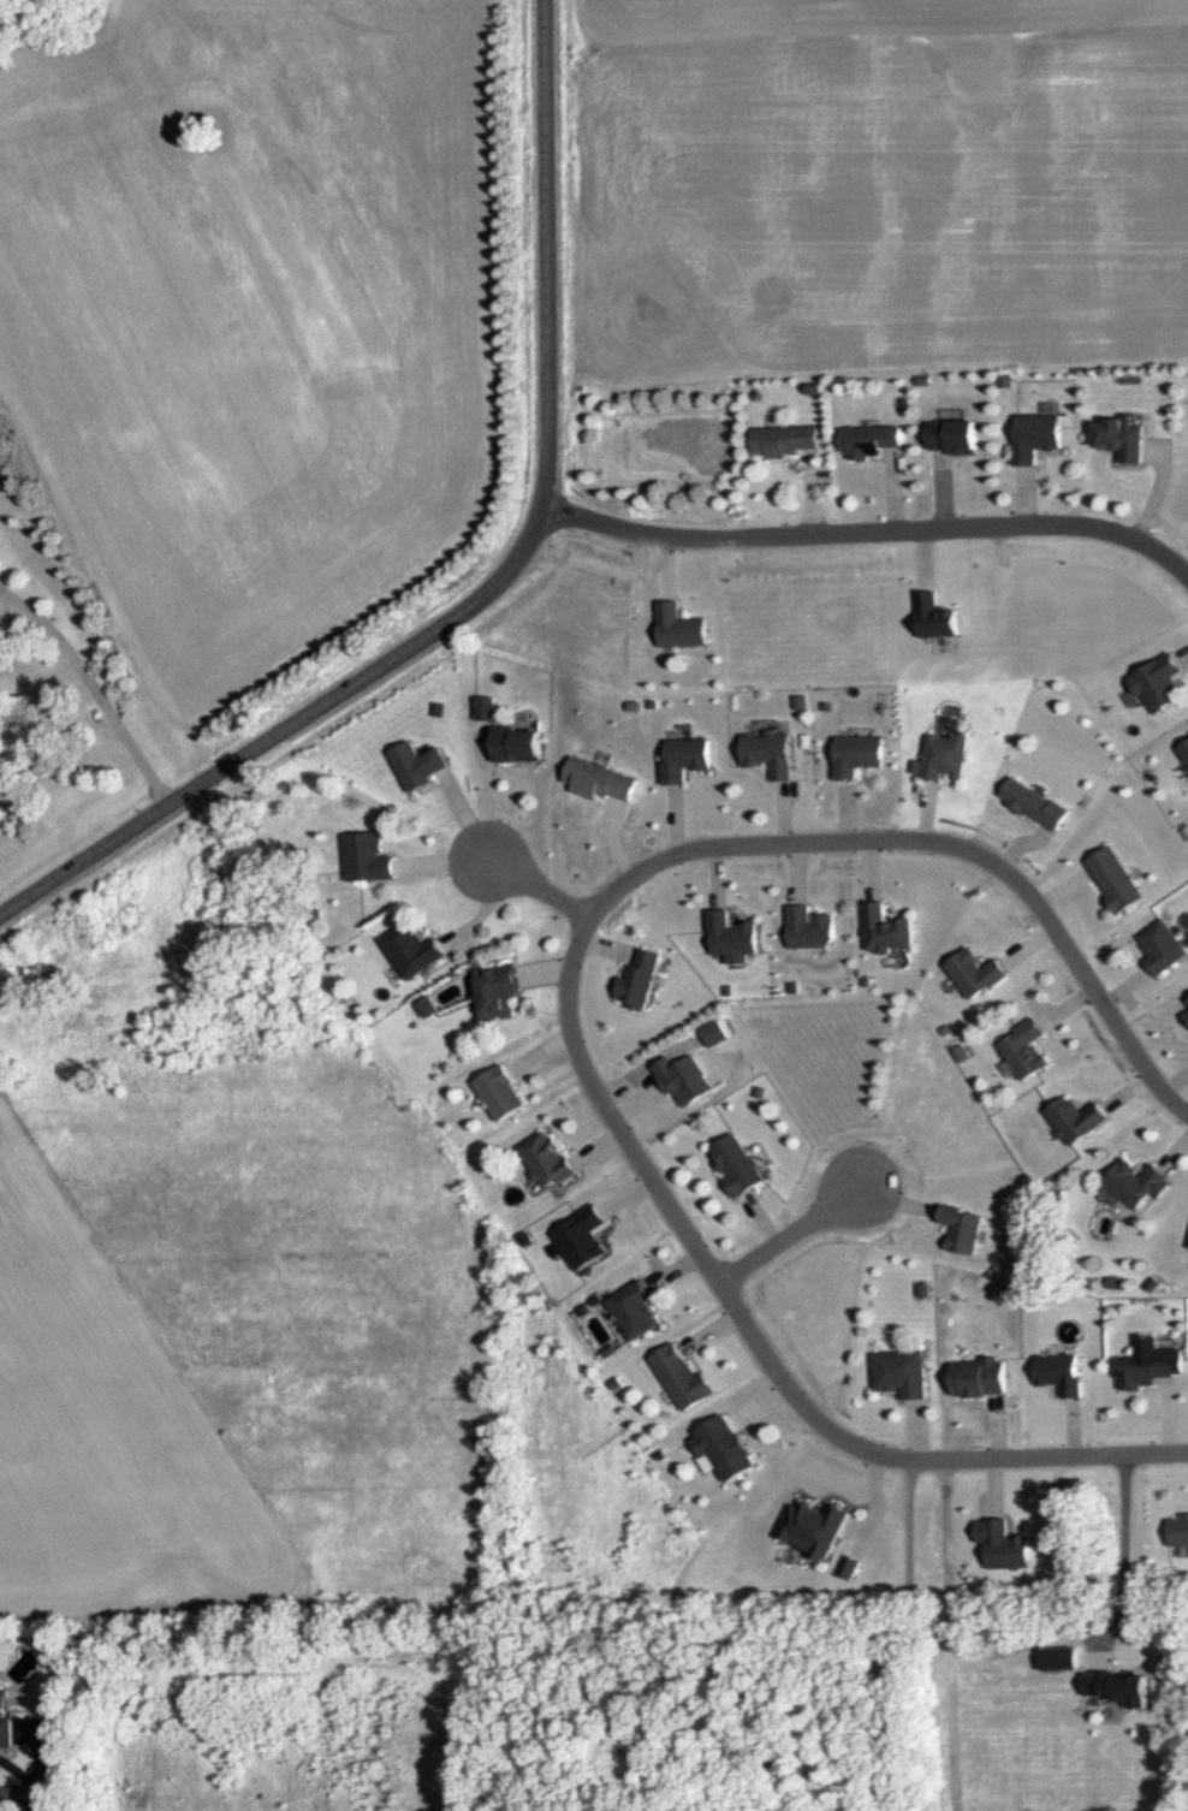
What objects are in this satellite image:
building: (954, 434)
building: (1036, 434)
building: (1123, 439)
building: (788, 440)
building: (871, 441)
road: (872, 529)
road: (497, 581)
building: (934, 614)
building: (679, 625)
building: (1159, 682)
road: (84, 695)
building: (485, 707)
building: (517, 743)
building: (1184, 747)
building: (770, 752)
building: (859, 753)
building: (687, 756)
building: (950, 756)
building: (422, 767)
building: (596, 779)
building: (1040, 804)
road: (939, 843)
building: (367, 855)
building: (1116, 879)
road: (536, 886)
building: (812, 927)
building: (886, 928)
building: (733, 933)
building: (1162, 945)
building: (411, 949)
building: (976, 973)
building: (640, 974)
building: (865, 979)
building: (792, 985)
building: (497, 988)
building: (726, 990)
building: (717, 1034)
building: (1023, 1049)
building: (764, 1091)
building: (499, 1092)
building: (1074, 1116)
building: (547, 1159)
building: (737, 1163)
building: (1135, 1183)
building: (964, 1227)
road: (786, 1237)
building: (635, 1308)
road: (759, 1338)
building: (1145, 1367)
building: (899, 1372)
building: (1062, 1372)
building: (980, 1377)
building: (681, 1379)
building: (616, 1382)
building: (725, 1448)
building: (1180, 1530)
road: (1122, 1548)
road: (929, 1568)
building: (6, 1727)

